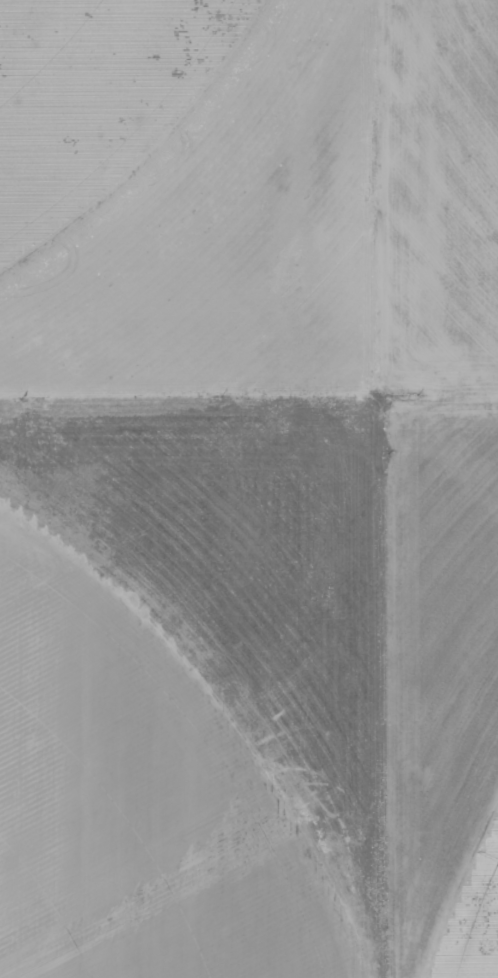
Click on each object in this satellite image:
road: (249, 420)

